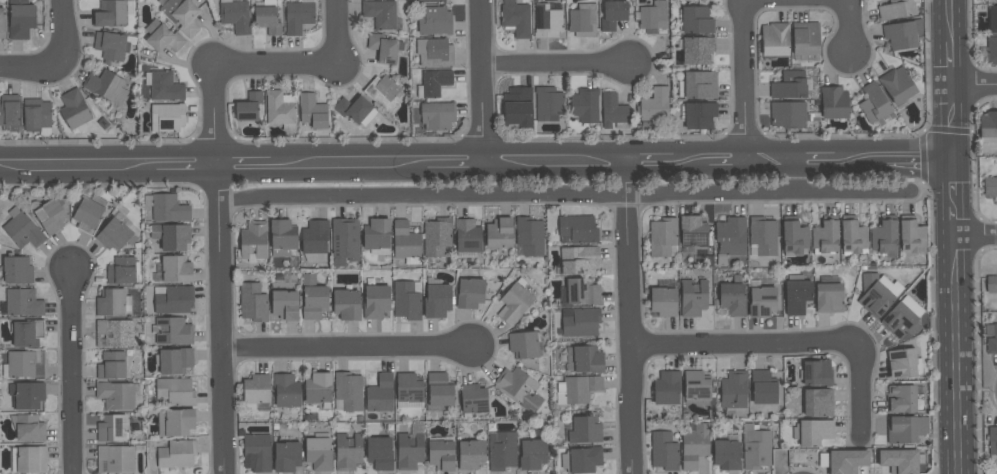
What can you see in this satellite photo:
building: (989, 0)
building: (431, 1)
road: (747, 4)
building: (895, 9)
building: (110, 13)
building: (380, 13)
building: (180, 14)
building: (612, 14)
building: (235, 15)
building: (266, 16)
building: (298, 16)
building: (515, 17)
building: (653, 17)
building: (20, 19)
building: (993, 19)
building: (583, 20)
building: (696, 20)
building: (435, 21)
building: (547, 21)
road: (948, 21)
building: (2, 23)
road: (340, 33)
building: (902, 33)
road: (67, 34)
building: (163, 37)
building: (805, 38)
building: (774, 39)
building: (110, 46)
building: (384, 48)
building: (697, 50)
building: (991, 51)
building: (434, 52)
road: (555, 62)
road: (950, 64)
road: (278, 66)
road: (31, 68)
road: (480, 80)
building: (433, 83)
building: (698, 85)
building: (789, 85)
building: (897, 85)
building: (106, 86)
building: (163, 86)
road: (974, 86)
building: (383, 92)
building: (833, 103)
building: (548, 104)
building: (584, 105)
building: (654, 105)
building: (875, 105)
building: (248, 107)
building: (518, 107)
building: (74, 109)
building: (280, 109)
building: (355, 110)
building: (614, 111)
building: (10, 112)
building: (312, 112)
building: (699, 114)
building: (787, 114)
building: (436, 115)
building: (37, 116)
building: (167, 117)
road: (952, 121)
building: (988, 127)
road: (913, 157)
road: (771, 158)
road: (816, 158)
road: (853, 158)
road: (691, 159)
road: (727, 159)
road: (648, 160)
road: (551, 161)
road: (453, 162)
road: (349, 163)
road: (186, 164)
road: (244, 164)
road: (78, 165)
road: (797, 176)
road: (953, 176)
building: (990, 187)
road: (563, 194)
road: (954, 201)
building: (169, 208)
building: (51, 216)
building: (89, 216)
road: (954, 221)
building: (577, 229)
building: (24, 231)
building: (692, 231)
building: (499, 233)
road: (976, 234)
building: (116, 235)
building: (911, 235)
building: (377, 236)
building: (762, 236)
building: (825, 236)
building: (852, 236)
building: (172, 237)
building: (436, 237)
building: (467, 237)
building: (529, 237)
building: (662, 237)
building: (884, 237)
building: (282, 238)
building: (730, 238)
building: (794, 238)
building: (315, 240)
building: (344, 240)
building: (254, 241)
building: (405, 243)
building: (578, 260)
road: (221, 269)
building: (175, 270)
building: (18, 271)
building: (122, 271)
building: (991, 284)
building: (582, 291)
building: (470, 293)
building: (877, 293)
building: (796, 294)
building: (829, 295)
building: (693, 297)
building: (732, 297)
building: (436, 298)
building: (663, 298)
building: (174, 299)
building: (407, 300)
building: (761, 300)
building: (314, 301)
building: (375, 301)
building: (112, 302)
building: (252, 302)
building: (514, 302)
building: (24, 303)
building: (284, 304)
building: (346, 305)
road: (628, 317)
building: (903, 318)
building: (580, 322)
building: (173, 331)
building: (28, 333)
building: (115, 334)
building: (991, 338)
building: (523, 344)
road: (792, 344)
road: (349, 345)
road: (957, 354)
building: (583, 359)
building: (175, 360)
building: (903, 363)
building: (26, 364)
building: (113, 366)
road: (71, 371)
building: (816, 372)
building: (666, 387)
building: (763, 387)
building: (519, 388)
building: (696, 388)
building: (256, 389)
building: (318, 389)
building: (577, 389)
building: (733, 389)
building: (439, 390)
building: (286, 391)
building: (408, 391)
building: (347, 392)
building: (175, 393)
building: (380, 393)
building: (27, 395)
building: (117, 395)
building: (900, 398)
building: (473, 400)
building: (817, 402)
building: (176, 422)
building: (30, 428)
building: (113, 429)
building: (905, 429)
building: (584, 430)
building: (812, 432)
building: (992, 440)
building: (694, 445)
building: (756, 447)
building: (410, 449)
building: (501, 450)
building: (318, 451)
building: (347, 451)
building: (664, 451)
building: (256, 452)
building: (178, 453)
building: (379, 453)
building: (441, 453)
building: (726, 453)
building: (470, 454)
building: (532, 454)
building: (286, 456)
building: (116, 459)
building: (581, 459)
building: (32, 460)
building: (843, 461)
building: (899, 461)

